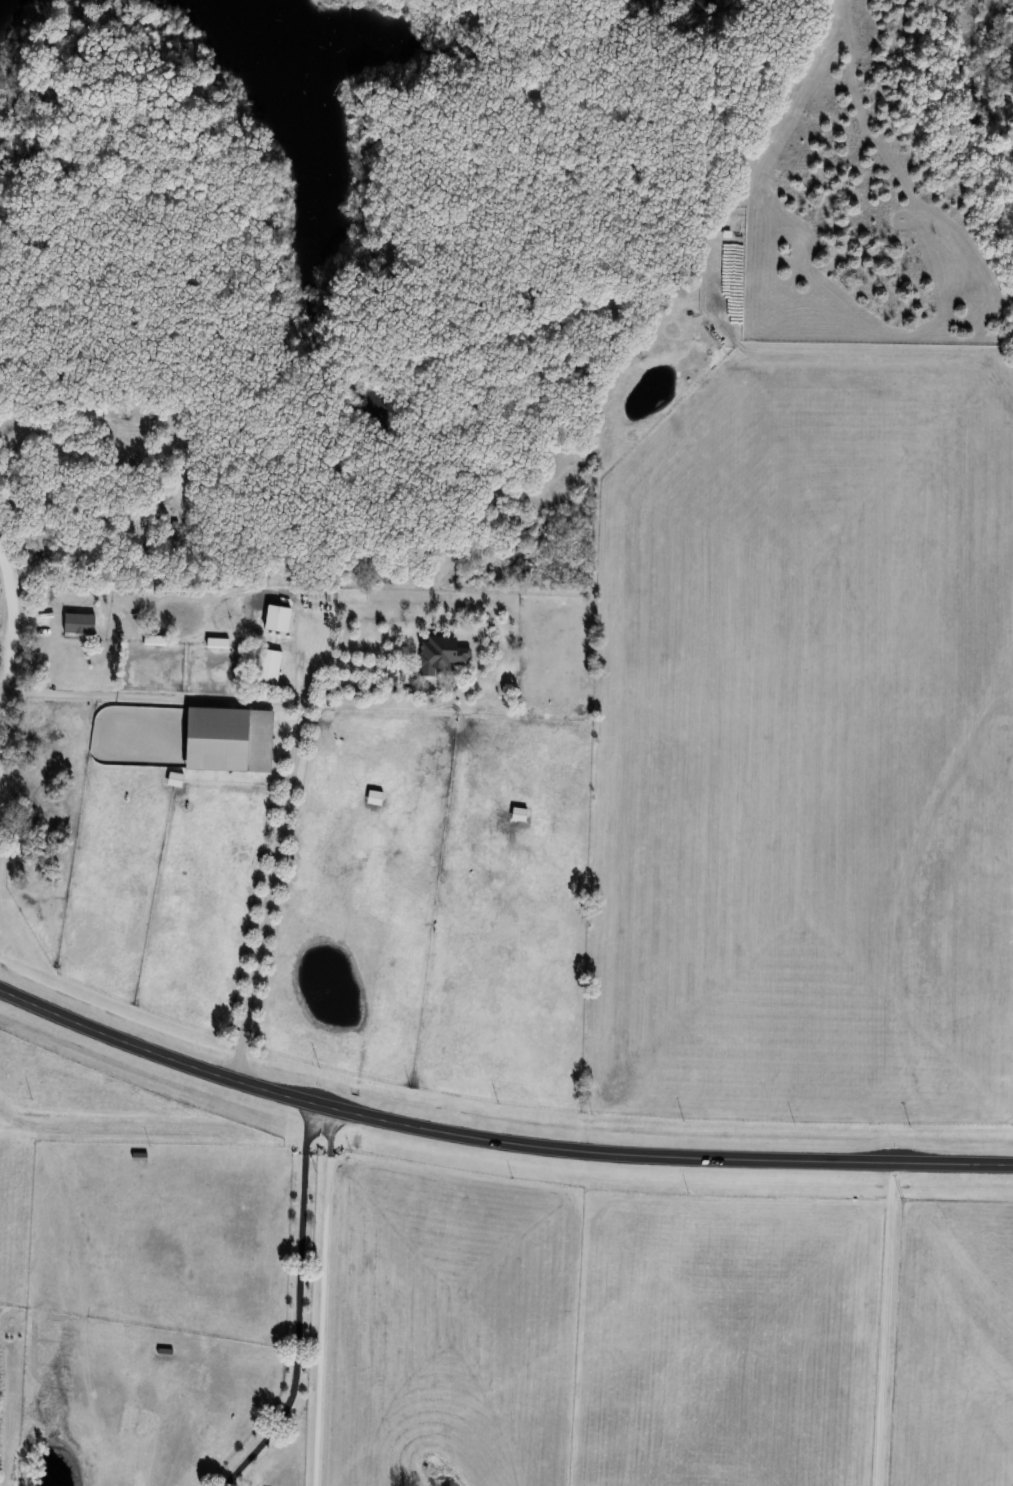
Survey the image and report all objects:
building: (275, 619)
building: (77, 624)
road: (4, 625)
building: (439, 655)
building: (266, 669)
road: (391, 689)
road: (152, 695)
building: (226, 740)
building: (373, 798)
building: (517, 814)
road: (274, 857)
road: (494, 1140)
road: (323, 1297)
road: (299, 1306)
road: (885, 1324)

